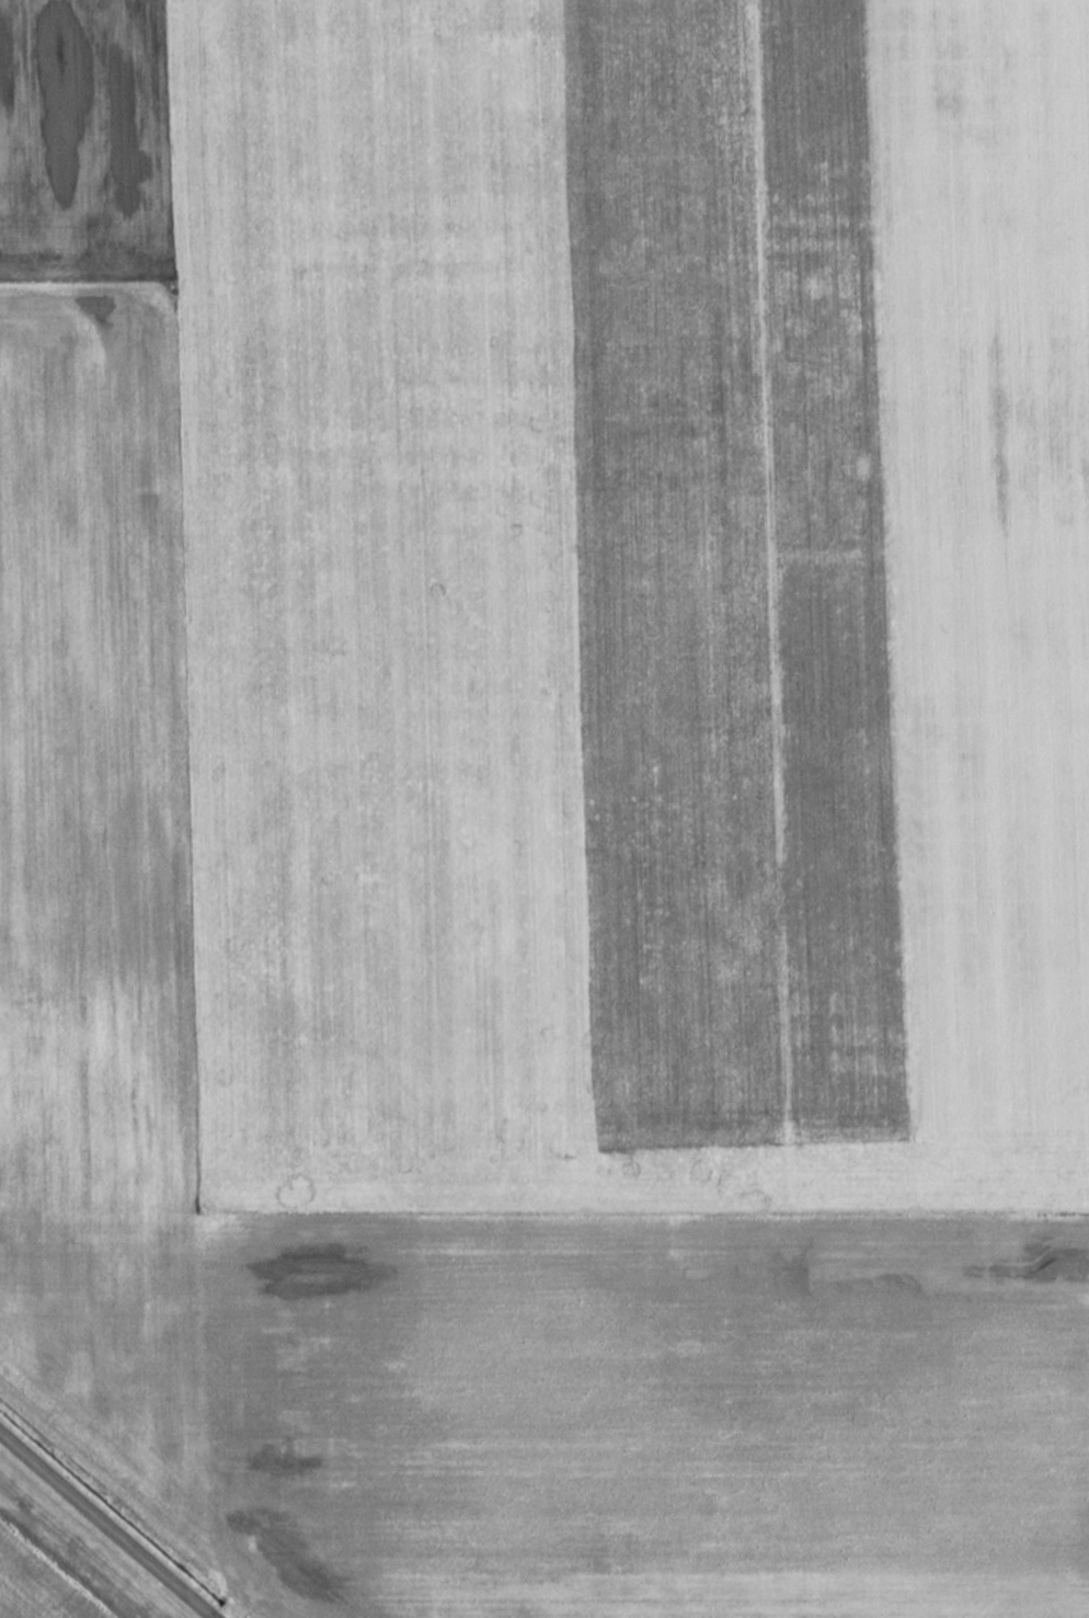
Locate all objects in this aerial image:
crop: (83, 143)
crop: (566, 812)
road: (107, 1524)
railway: (61, 1564)
crop: (49, 1572)

